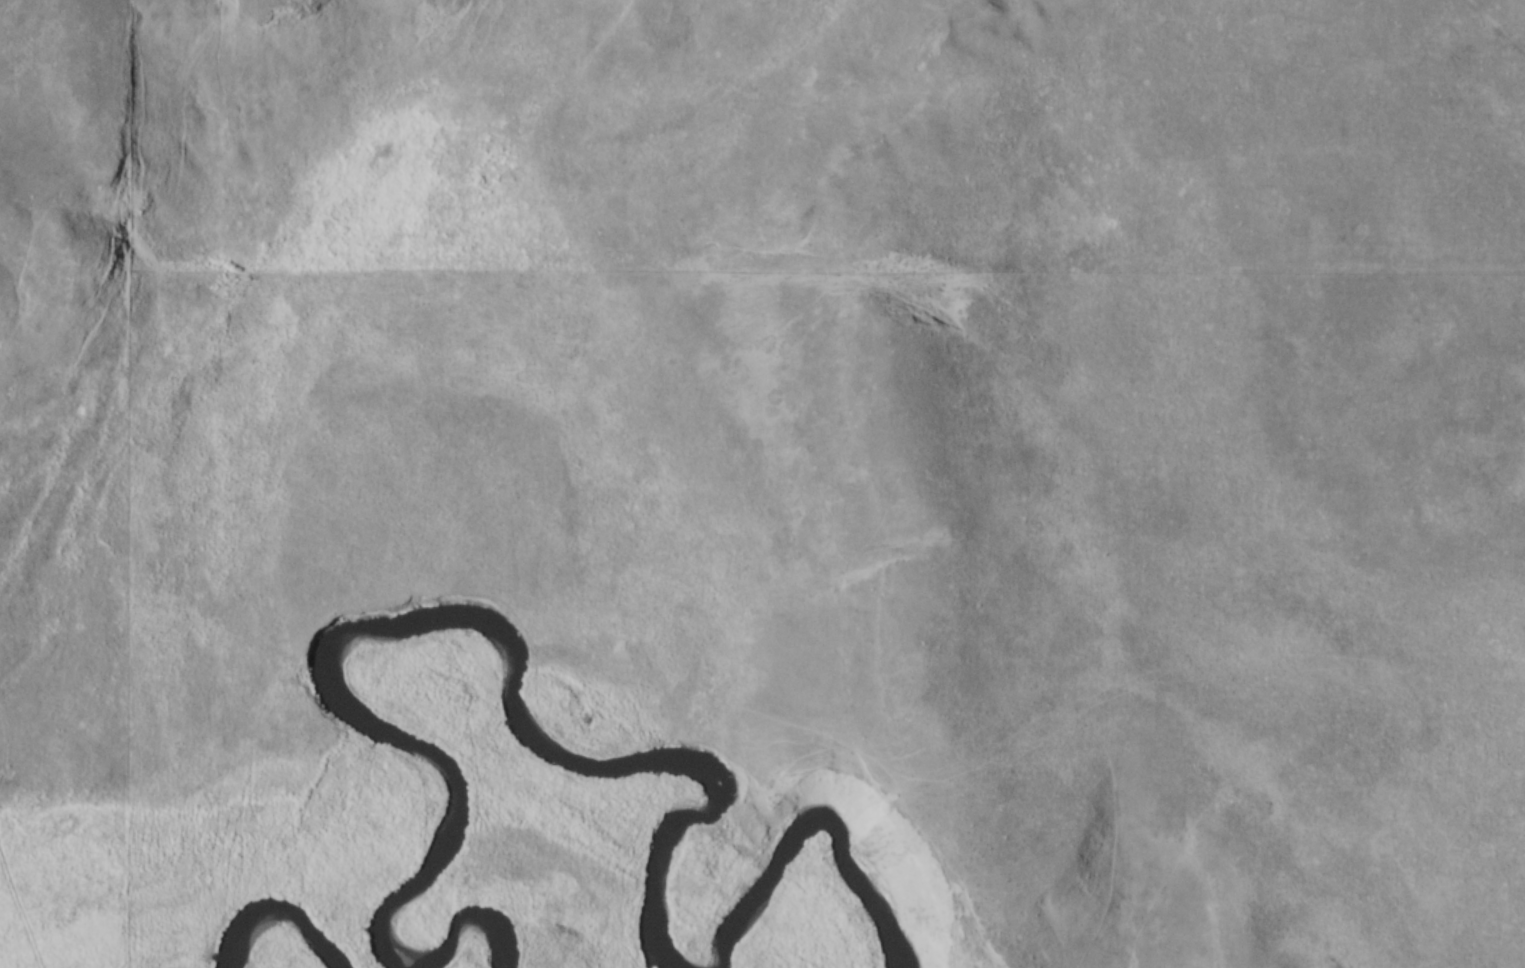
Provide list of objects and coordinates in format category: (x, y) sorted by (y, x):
river: (424, 614)
river: (805, 838)
river: (263, 926)

